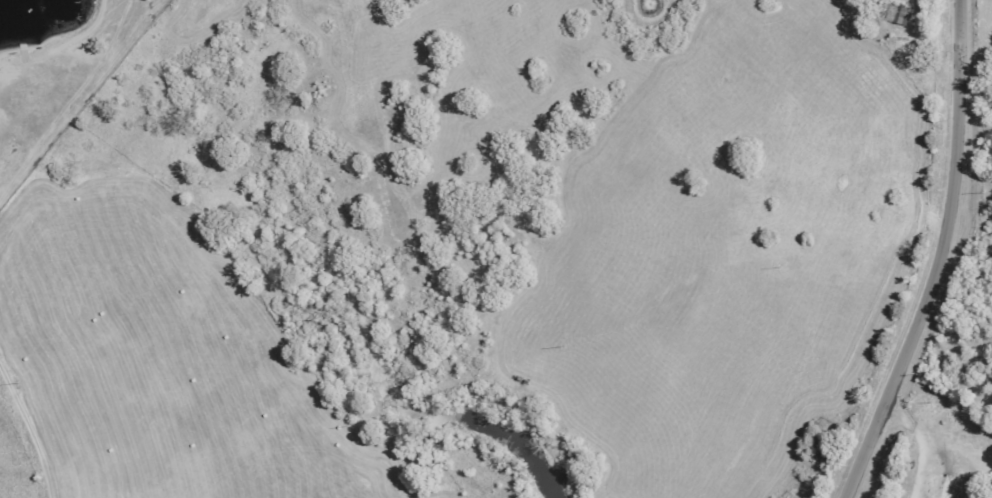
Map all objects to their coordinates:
road: (933, 253)

